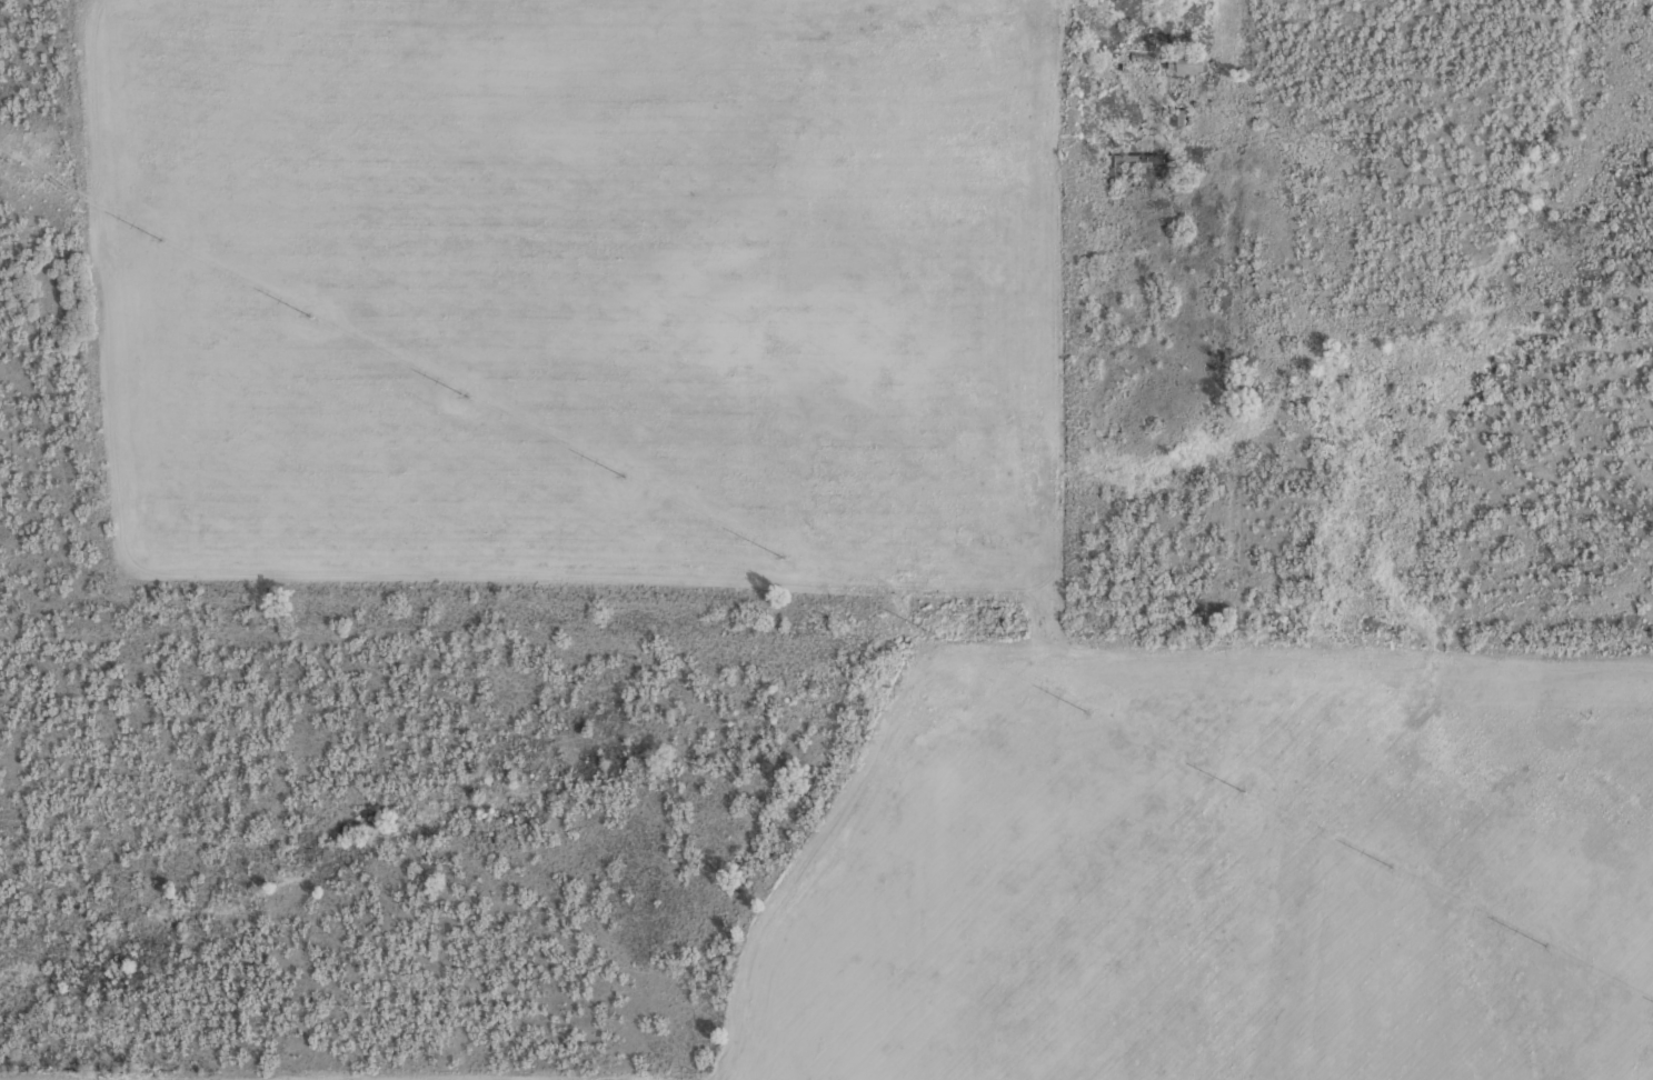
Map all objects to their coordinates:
building: (1182, 62)
building: (1135, 159)

